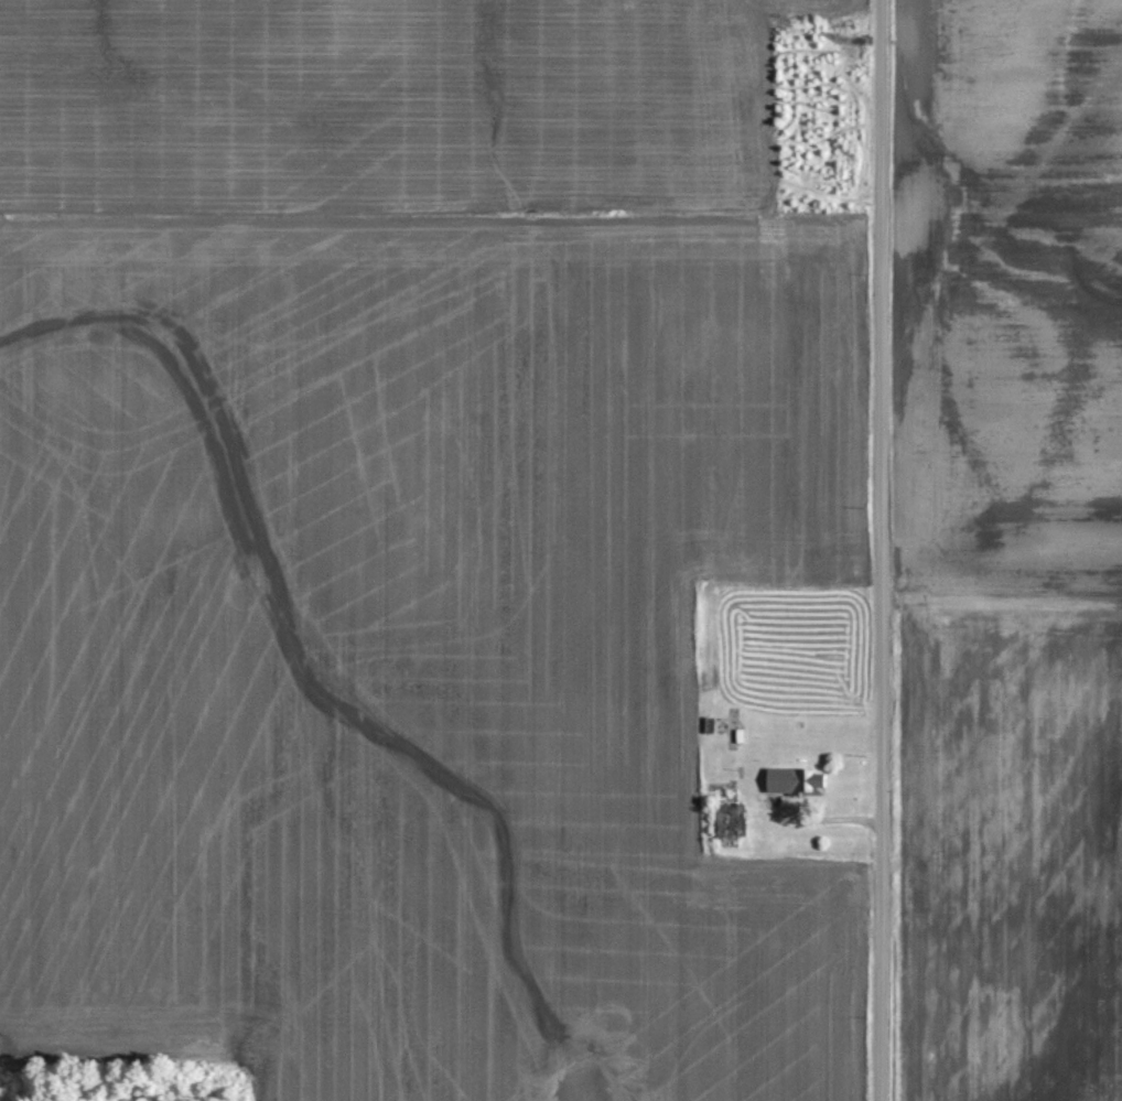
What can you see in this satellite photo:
road: (861, 550)
building: (795, 778)

